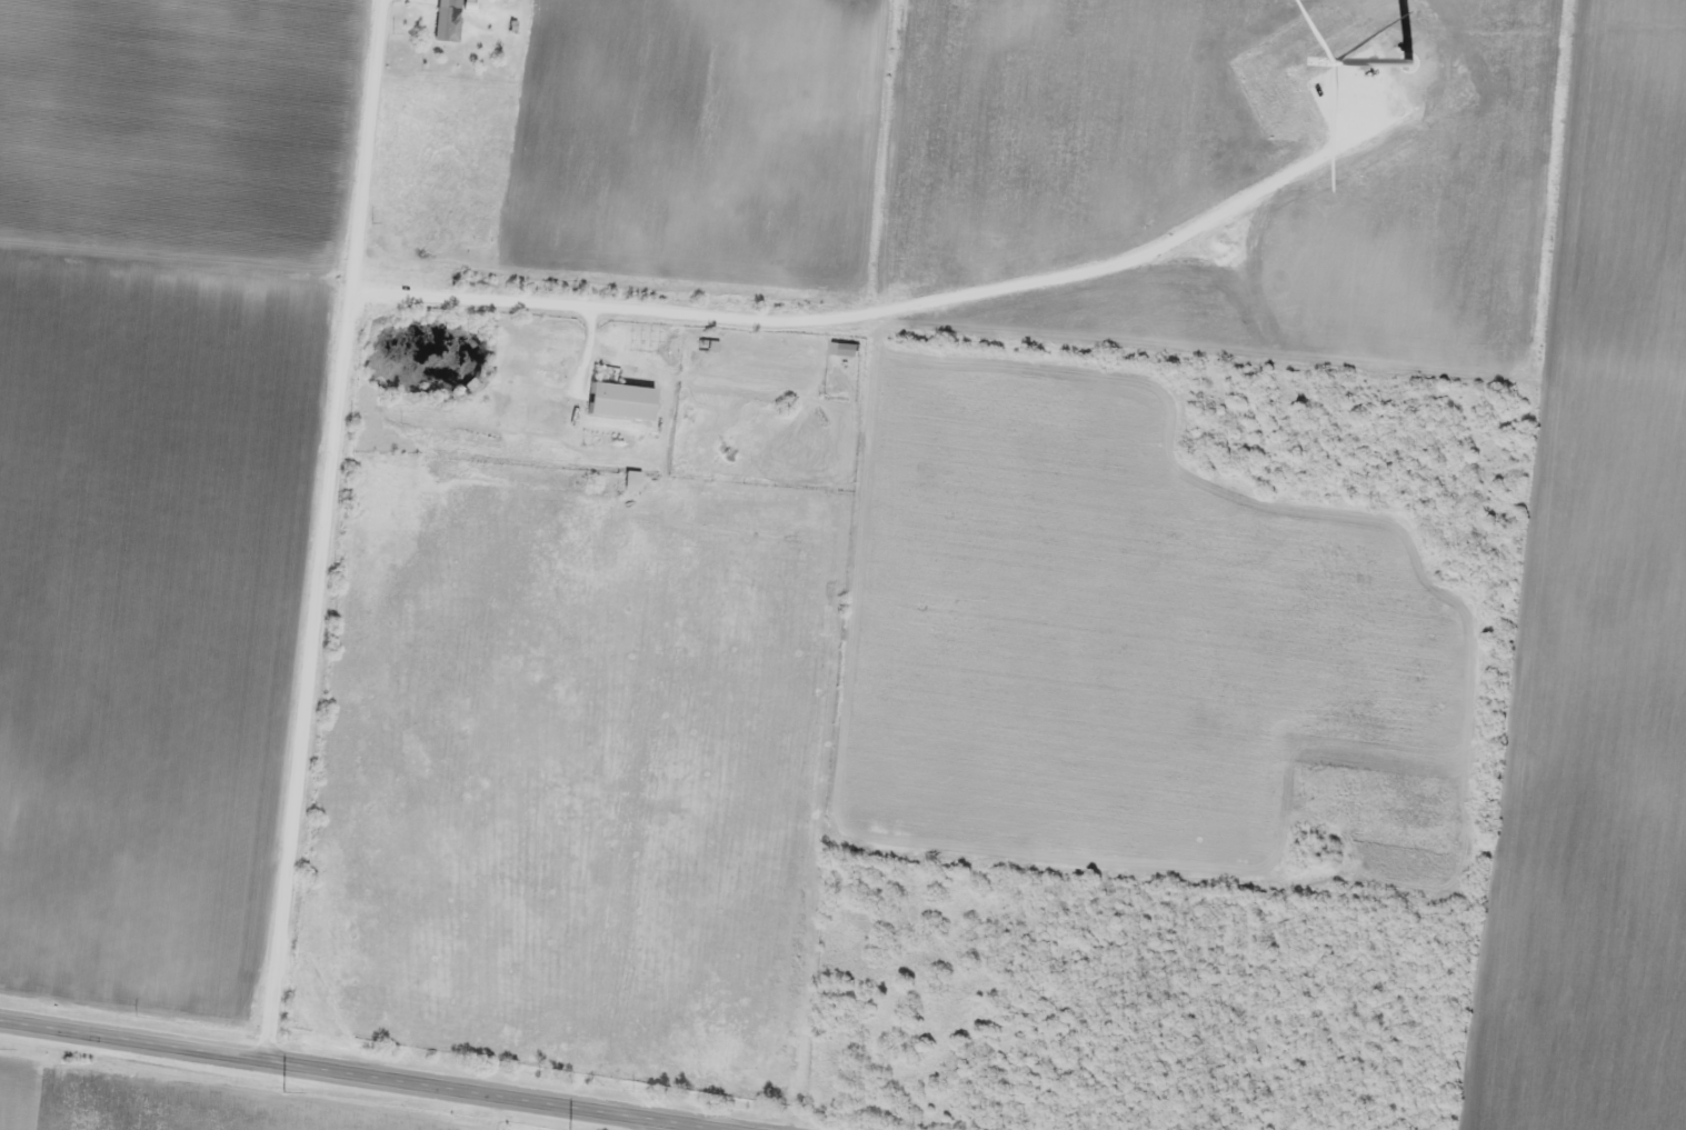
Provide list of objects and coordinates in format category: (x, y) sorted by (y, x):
building: (450, 23)
wind turbine: (1403, 48)
building: (620, 399)
road: (321, 531)
road: (355, 1076)

